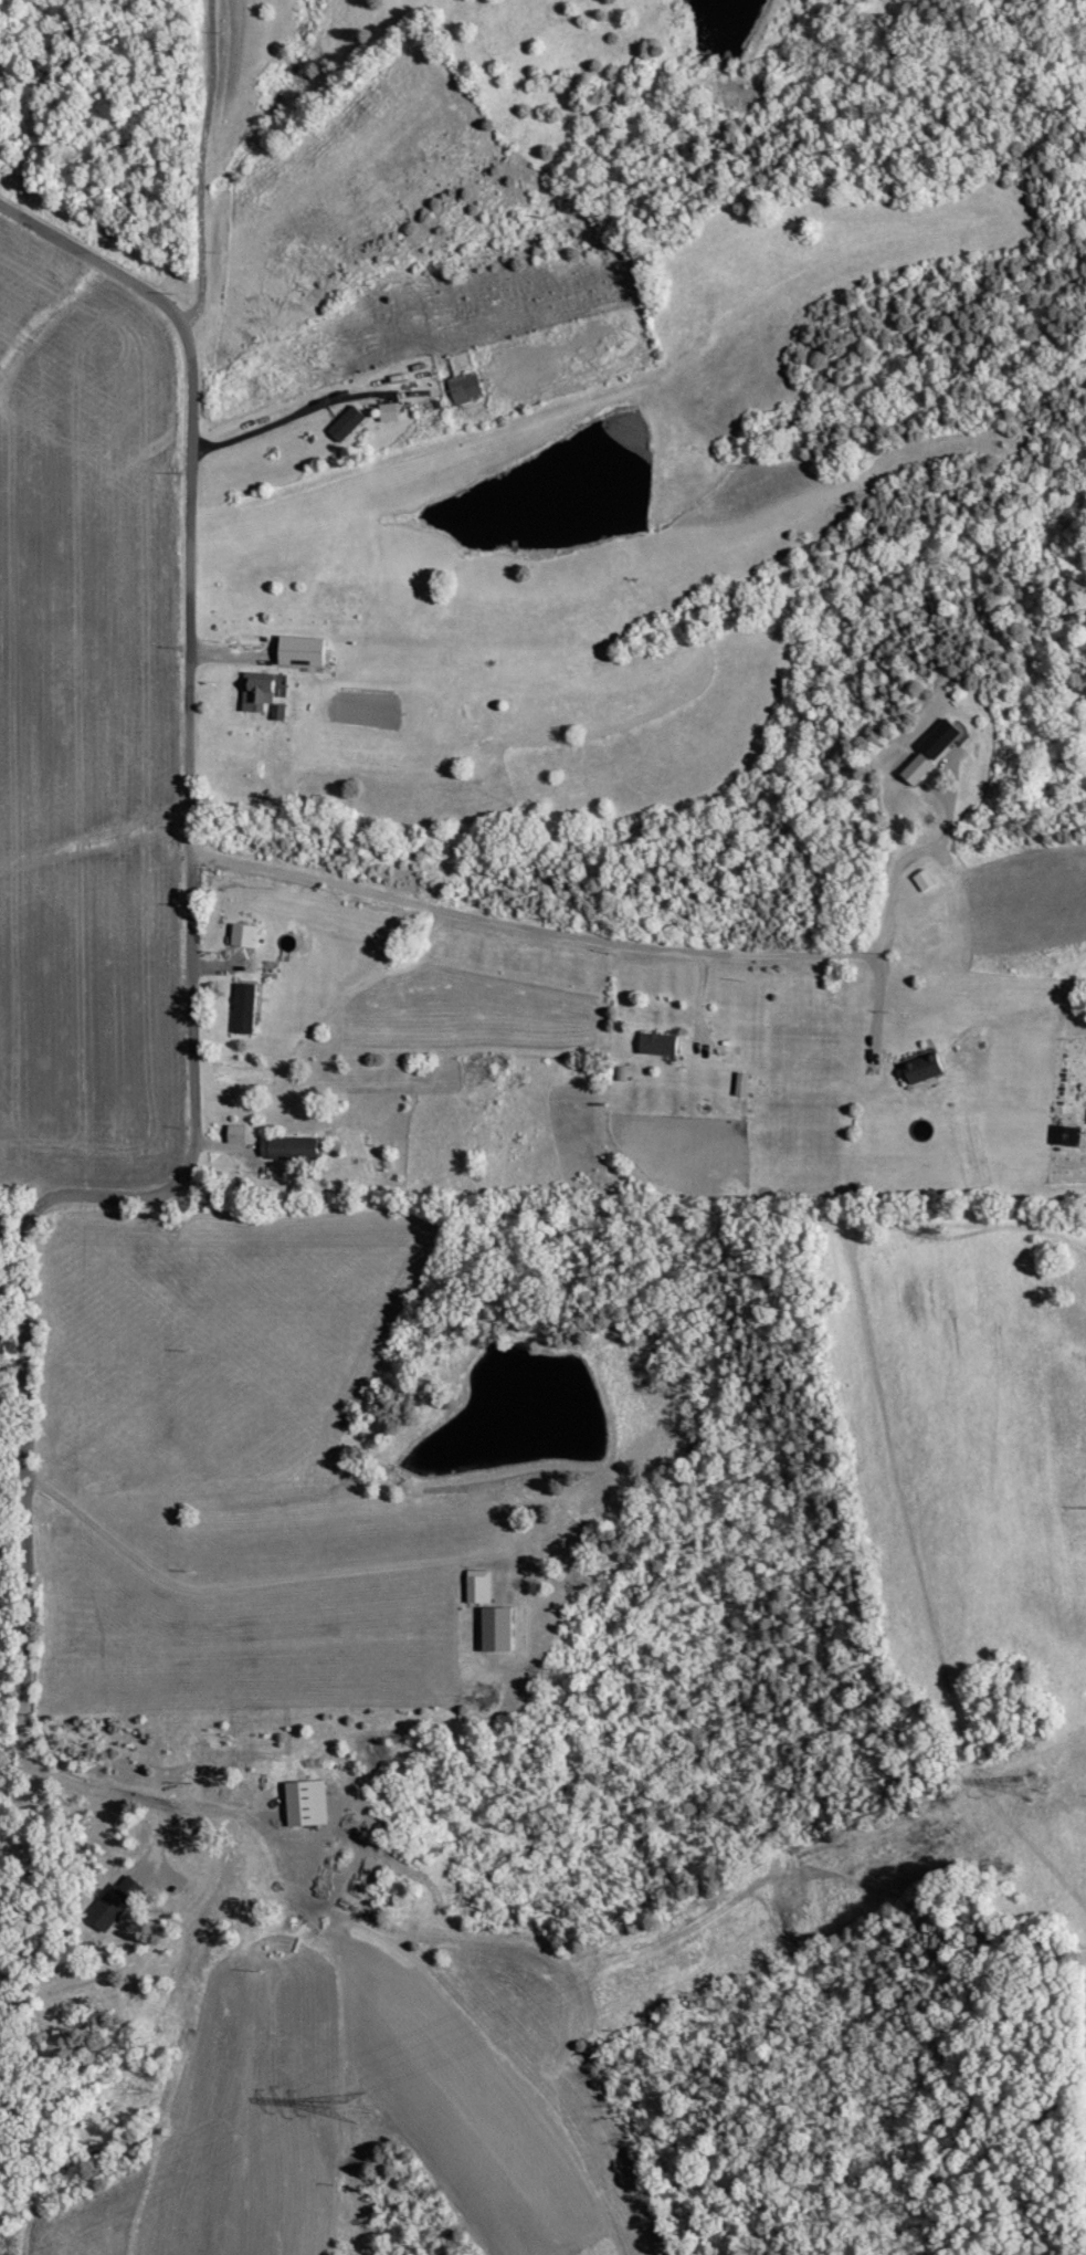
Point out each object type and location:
road: (199, 162)
building: (467, 388)
building: (391, 412)
building: (349, 424)
road: (229, 648)
building: (304, 651)
building: (260, 690)
building: (942, 737)
building: (920, 768)
road: (922, 846)
road: (526, 925)
building: (245, 935)
road: (219, 964)
road: (878, 1006)
building: (246, 1007)
building: (660, 1043)
building: (927, 1068)
road: (190, 1127)
building: (239, 1133)
building: (291, 1147)
road: (10, 1363)
road: (253, 1583)
building: (482, 1586)
building: (499, 1629)
power tower: (1026, 1786)
building: (308, 1803)
building: (115, 1903)
power tower: (355, 2105)

